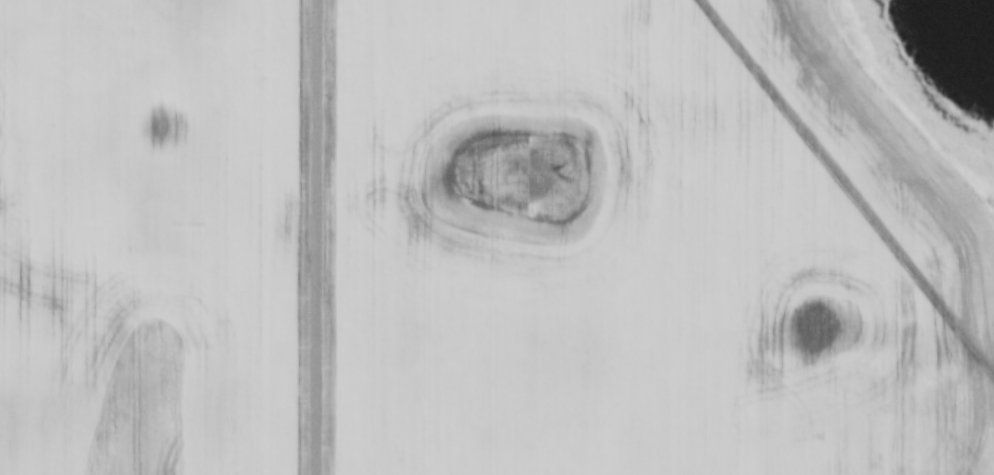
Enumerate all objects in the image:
road: (318, 237)

